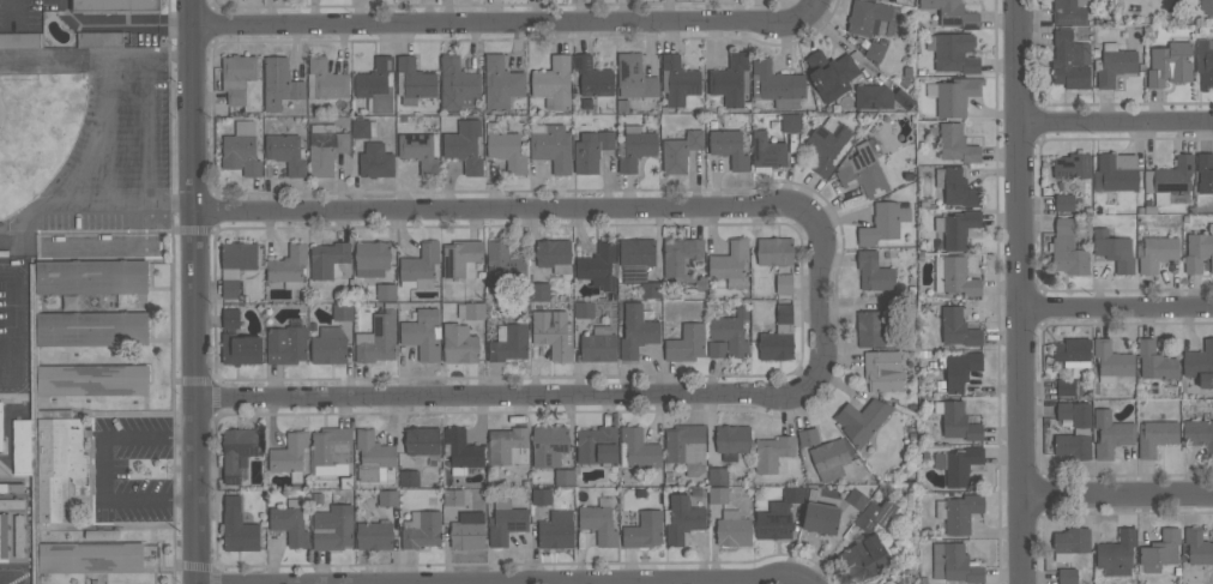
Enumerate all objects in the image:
building: (115, 6)
building: (1207, 6)
building: (1069, 11)
building: (953, 13)
building: (865, 16)
road: (514, 19)
road: (123, 24)
building: (101, 38)
building: (20, 40)
building: (875, 52)
building: (953, 52)
building: (1070, 61)
building: (1205, 62)
building: (1114, 64)
building: (1169, 65)
building: (831, 74)
building: (237, 77)
building: (592, 77)
building: (634, 77)
building: (730, 79)
building: (325, 80)
building: (677, 80)
building: (414, 82)
building: (279, 83)
building: (554, 83)
building: (457, 84)
building: (501, 84)
building: (776, 84)
building: (376, 86)
building: (873, 96)
building: (956, 96)
road: (1115, 121)
building: (790, 124)
building: (363, 128)
road: (146, 130)
building: (827, 144)
building: (956, 144)
building: (464, 145)
building: (506, 147)
building: (551, 147)
building: (636, 147)
building: (729, 147)
building: (325, 149)
building: (241, 150)
building: (591, 150)
building: (420, 151)
building: (680, 151)
building: (768, 151)
building: (286, 152)
building: (376, 161)
building: (1072, 165)
building: (863, 171)
building: (1118, 171)
building: (1205, 173)
building: (1171, 181)
building: (955, 187)
building: (1064, 203)
building: (885, 222)
building: (958, 228)
building: (1067, 248)
building: (1114, 249)
building: (774, 251)
building: (1199, 251)
building: (1155, 252)
building: (554, 254)
building: (370, 258)
building: (461, 258)
building: (635, 258)
building: (682, 258)
building: (237, 259)
building: (327, 259)
building: (730, 264)
building: (598, 265)
building: (288, 266)
building: (420, 266)
building: (502, 266)
building: (874, 272)
building: (91, 276)
building: (954, 276)
building: (784, 283)
building: (230, 289)
building: (651, 289)
road: (200, 291)
building: (385, 291)
building: (539, 291)
road: (1022, 291)
road: (817, 299)
building: (70, 302)
road: (1118, 306)
building: (584, 309)
building: (470, 311)
building: (342, 312)
building: (231, 319)
building: (958, 327)
building: (91, 329)
building: (870, 329)
building: (636, 331)
building: (553, 332)
building: (731, 332)
building: (423, 333)
building: (778, 336)
building: (378, 339)
building: (459, 343)
building: (508, 343)
building: (687, 343)
building: (286, 344)
building: (598, 344)
building: (328, 345)
building: (241, 349)
building: (717, 349)
building: (1072, 353)
building: (1111, 361)
building: (1154, 361)
building: (1200, 363)
building: (882, 371)
building: (960, 371)
building: (91, 379)
building: (1066, 386)
building: (1074, 413)
building: (862, 420)
building: (956, 421)
building: (0, 426)
building: (1110, 434)
building: (1199, 434)
building: (1155, 437)
building: (808, 438)
road: (151, 439)
building: (422, 440)
building: (732, 441)
building: (508, 445)
building: (549, 445)
building: (597, 446)
building: (1072, 446)
building: (687, 447)
building: (636, 448)
building: (461, 450)
building: (239, 451)
building: (331, 451)
building: (772, 452)
building: (290, 454)
building: (373, 456)
building: (829, 459)
building: (50, 460)
building: (958, 464)
road: (102, 470)
building: (718, 476)
building: (409, 477)
building: (563, 477)
building: (12, 488)
road: (1118, 493)
building: (718, 495)
building: (453, 496)
building: (542, 496)
building: (387, 498)
building: (856, 499)
road: (151, 501)
building: (12, 504)
building: (958, 512)
building: (778, 514)
building: (875, 514)
building: (820, 518)
building: (682, 519)
building: (290, 522)
building: (506, 522)
building: (598, 522)
building: (237, 528)
building: (332, 528)
building: (421, 529)
building: (732, 529)
building: (469, 530)
building: (556, 530)
building: (644, 530)
building: (2, 535)
building: (18, 535)
building: (374, 536)
building: (1070, 542)
building: (1197, 546)
building: (1160, 550)
building: (1116, 554)
building: (90, 558)
building: (867, 558)
building: (954, 564)
building: (1067, 576)
road: (608, 580)

